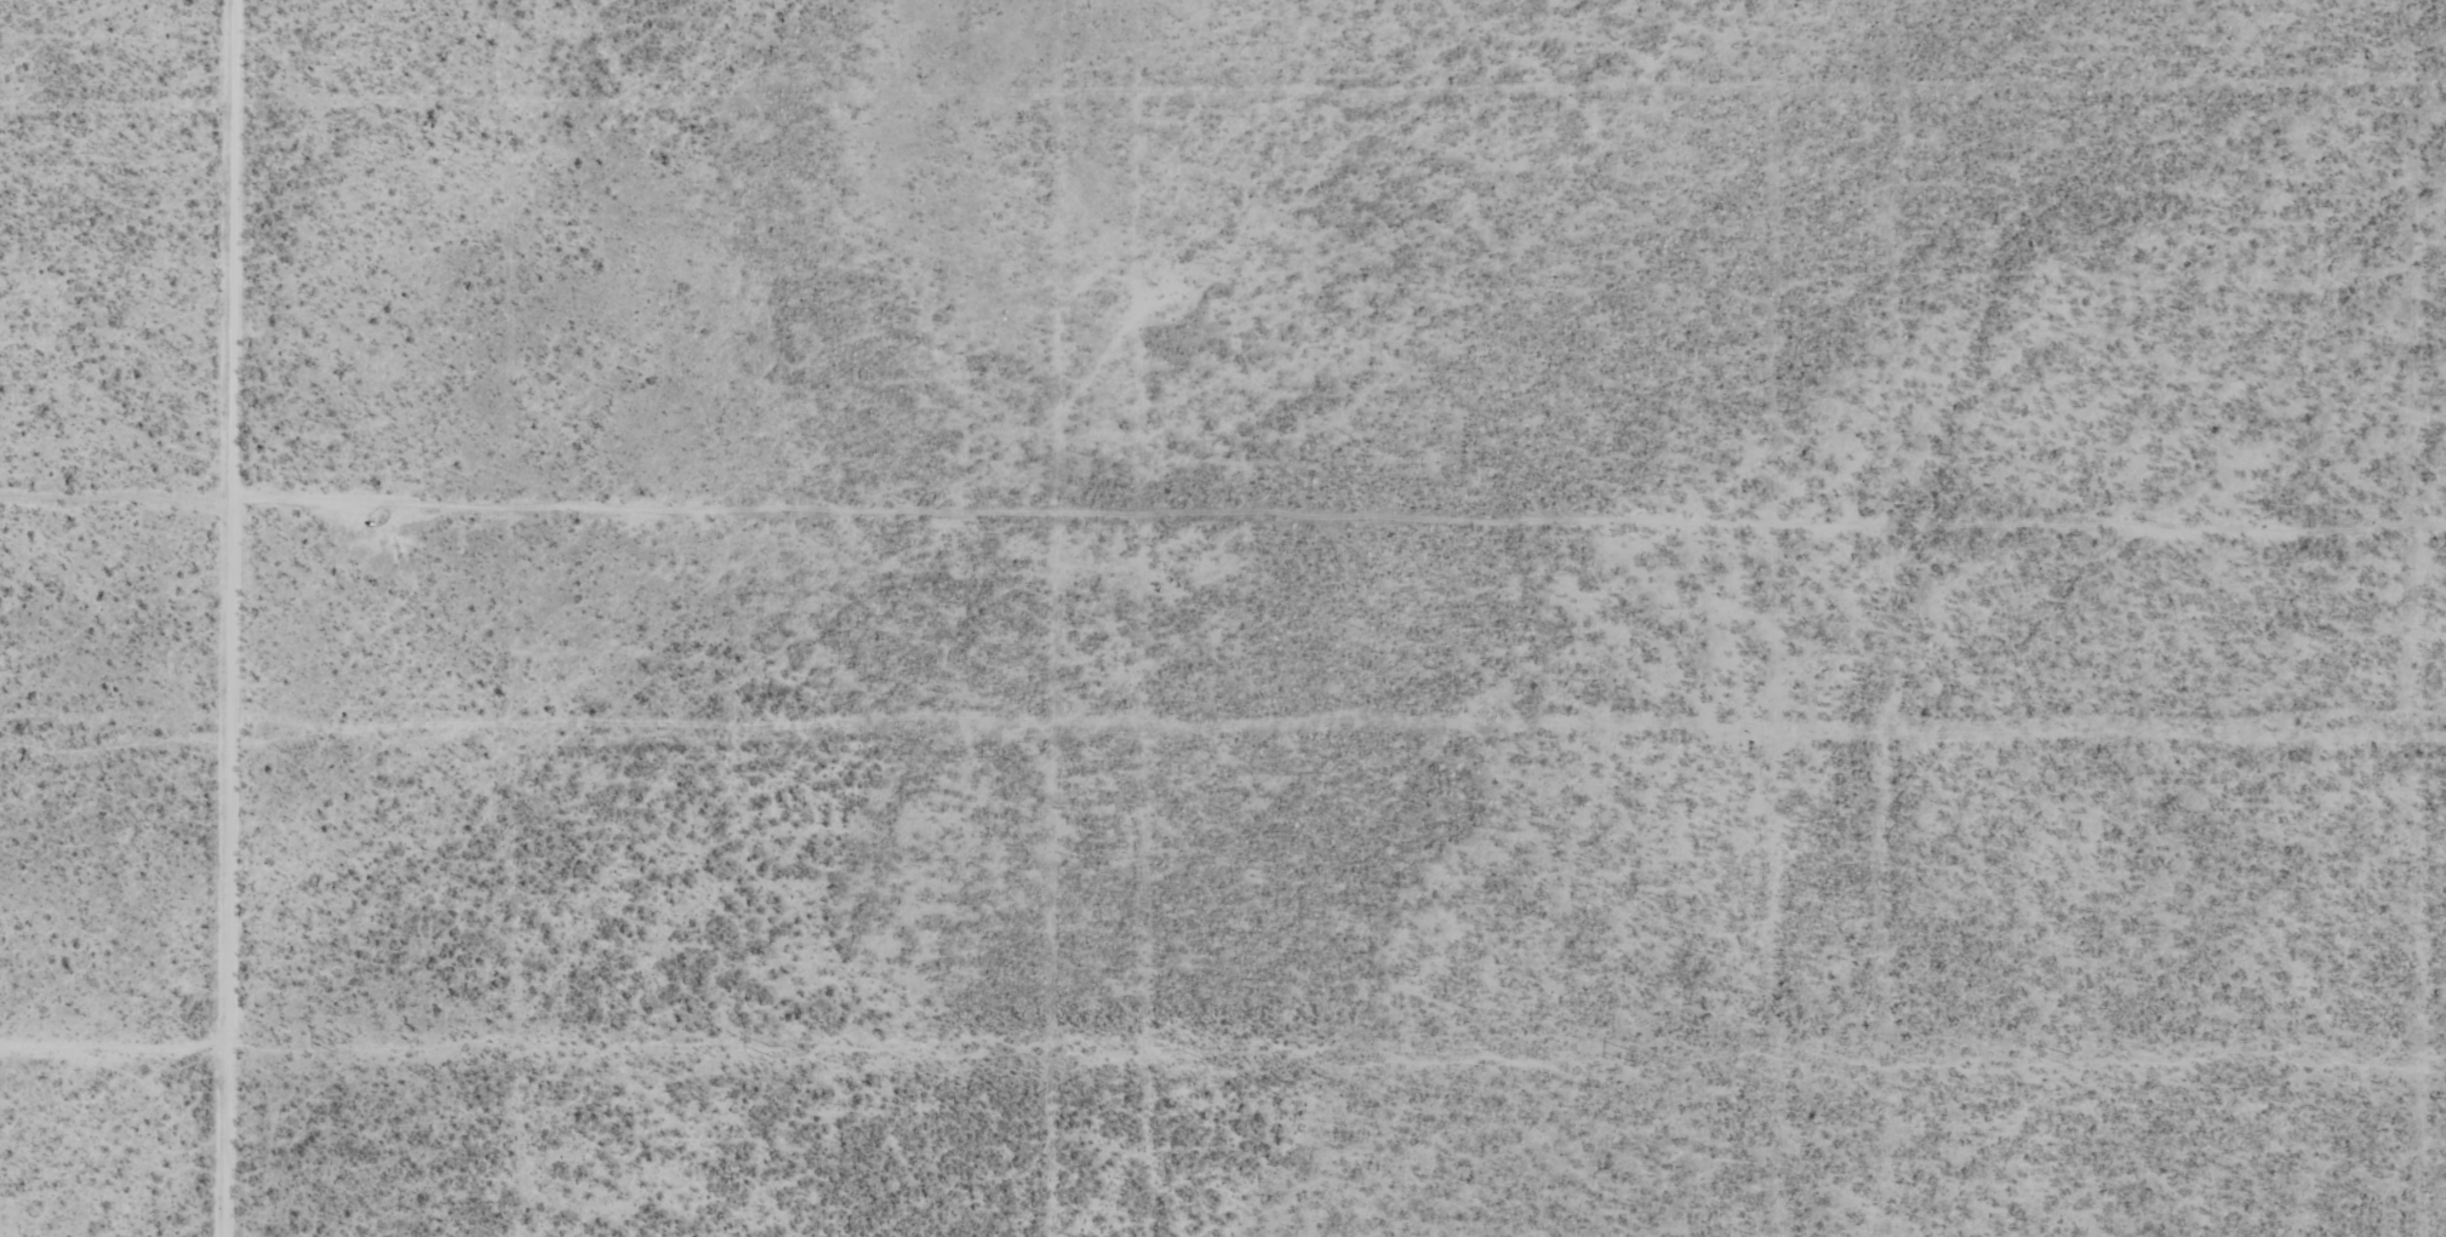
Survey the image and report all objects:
road: (246, 618)
power tower: (336, 1047)
power tower: (768, 1049)
power tower: (1202, 1053)
power tower: (1635, 1056)
power tower: (2070, 1060)

